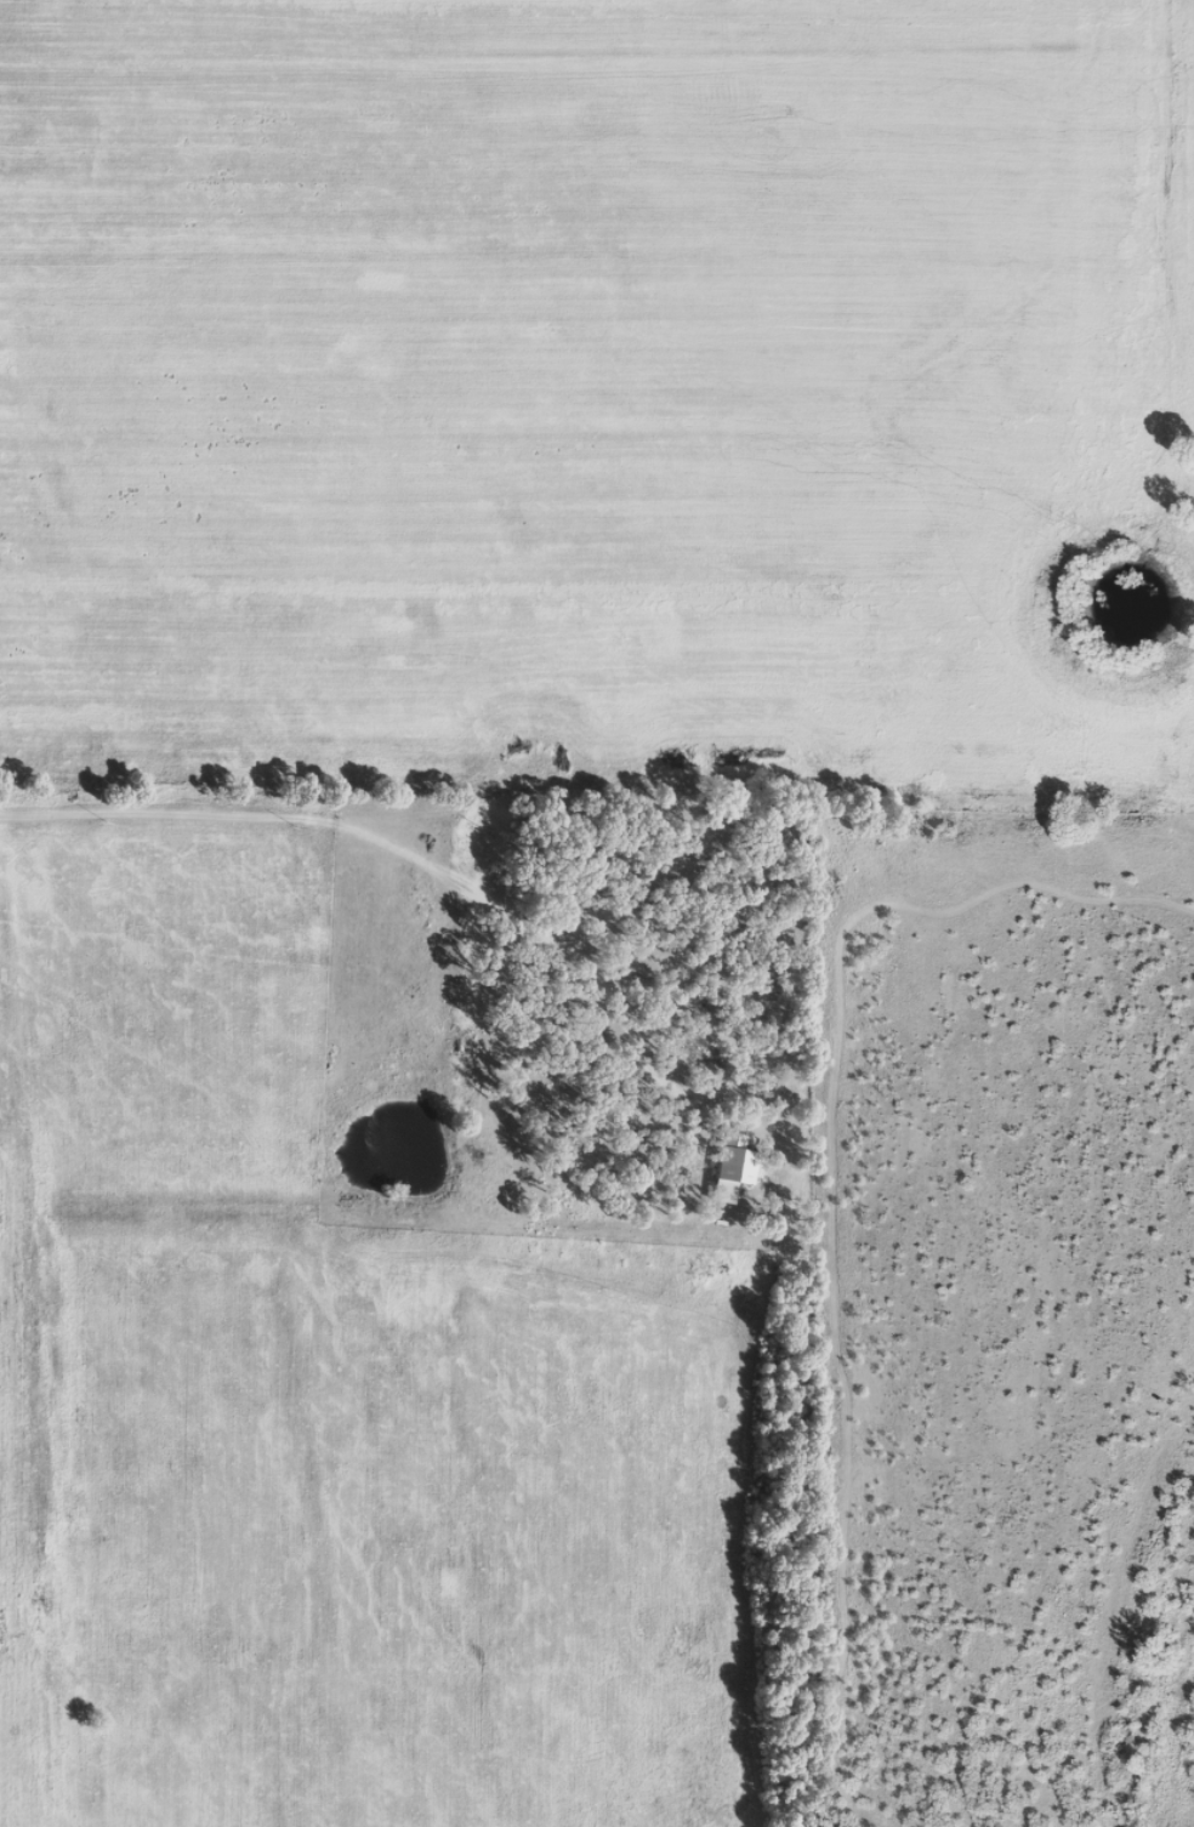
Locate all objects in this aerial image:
building: (734, 1177)

